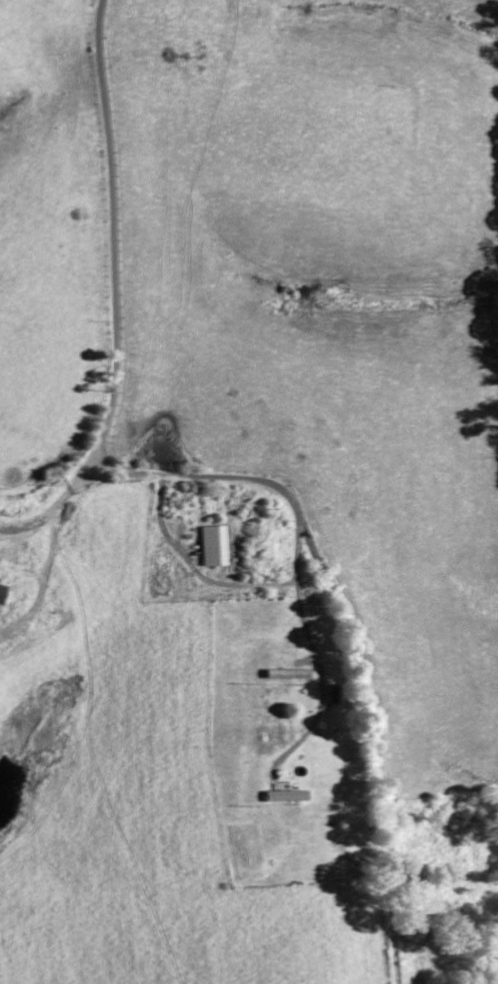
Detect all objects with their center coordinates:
road: (113, 227)
building: (216, 547)
building: (1, 593)
building: (289, 675)
building: (334, 699)
building: (289, 797)

